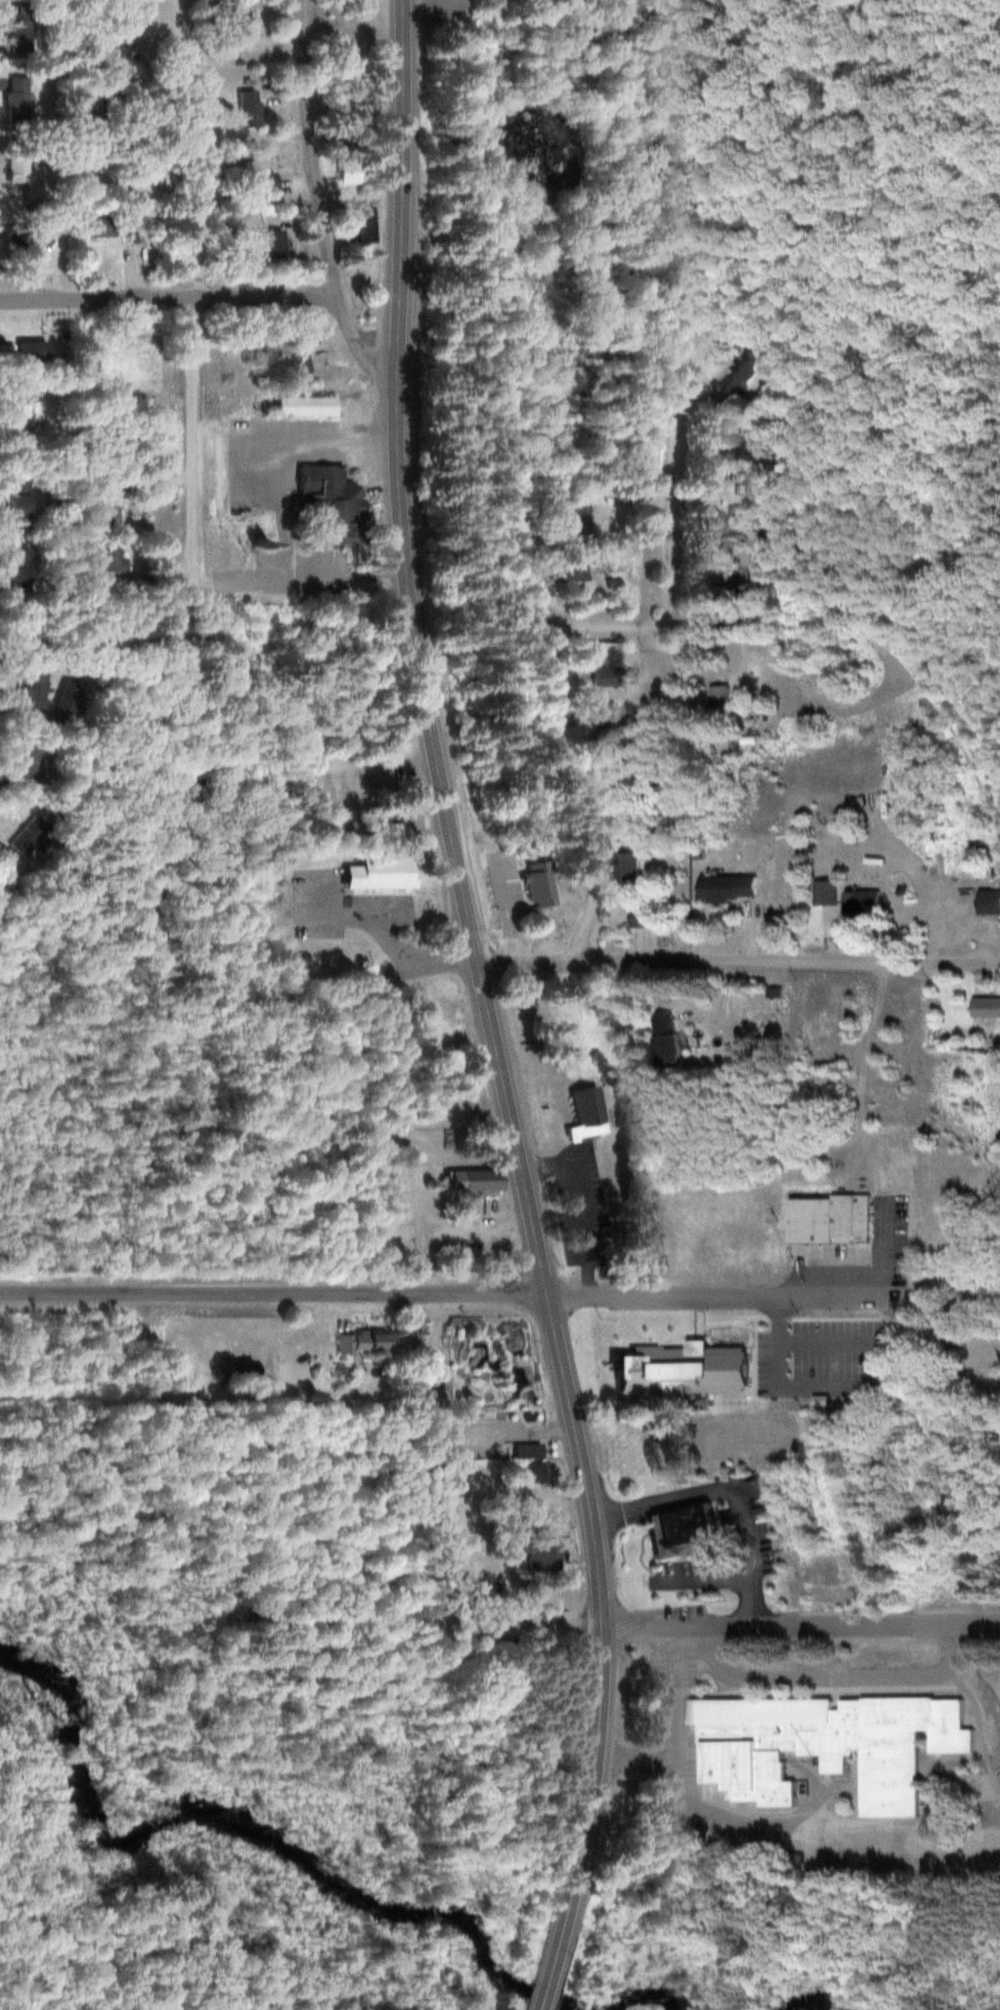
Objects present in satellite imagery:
building: (236, 22)
building: (18, 35)
road: (184, 39)
building: (99, 48)
building: (15, 98)
building: (248, 108)
building: (15, 167)
building: (247, 176)
road: (321, 199)
building: (359, 225)
building: (95, 227)
building: (17, 237)
building: (272, 244)
road: (263, 295)
road: (94, 299)
building: (28, 350)
building: (294, 359)
building: (738, 374)
building: (302, 406)
building: (25, 412)
road: (496, 416)
road: (191, 436)
parking lot: (277, 453)
road: (671, 496)
building: (325, 501)
building: (13, 504)
building: (107, 511)
building: (576, 516)
building: (12, 569)
parking lot: (291, 572)
building: (571, 573)
road: (301, 577)
road: (606, 624)
building: (602, 678)
building: (32, 689)
building: (66, 695)
building: (718, 705)
building: (592, 711)
building: (30, 762)
building: (346, 782)
road: (570, 802)
building: (393, 813)
building: (29, 836)
building: (628, 867)
building: (5, 868)
building: (378, 871)
building: (726, 888)
building: (537, 889)
building: (823, 893)
building: (987, 903)
building: (861, 904)
parking lot: (348, 906)
road: (394, 917)
building: (637, 919)
road: (383, 925)
road: (723, 960)
road: (983, 962)
road: (485, 985)
building: (985, 1006)
building: (665, 1044)
building: (585, 1114)
building: (470, 1180)
building: (829, 1218)
building: (715, 1245)
road: (273, 1293)
road: (714, 1296)
road: (786, 1314)
road: (697, 1316)
building: (948, 1333)
building: (628, 1338)
road: (823, 1338)
building: (364, 1341)
road: (751, 1352)
road: (439, 1355)
parking lot: (816, 1356)
building: (238, 1369)
building: (680, 1370)
road: (779, 1384)
road: (560, 1421)
parking lot: (482, 1434)
building: (527, 1448)
building: (529, 1473)
road: (658, 1500)
parking lot: (740, 1523)
building: (683, 1529)
building: (542, 1553)
building: (462, 1578)
road: (751, 1606)
road: (801, 1626)
road: (835, 1675)
parking lot: (667, 1685)
building: (822, 1744)
road: (636, 1755)
road: (673, 1763)
parking lot: (725, 1817)
road: (552, 1986)

